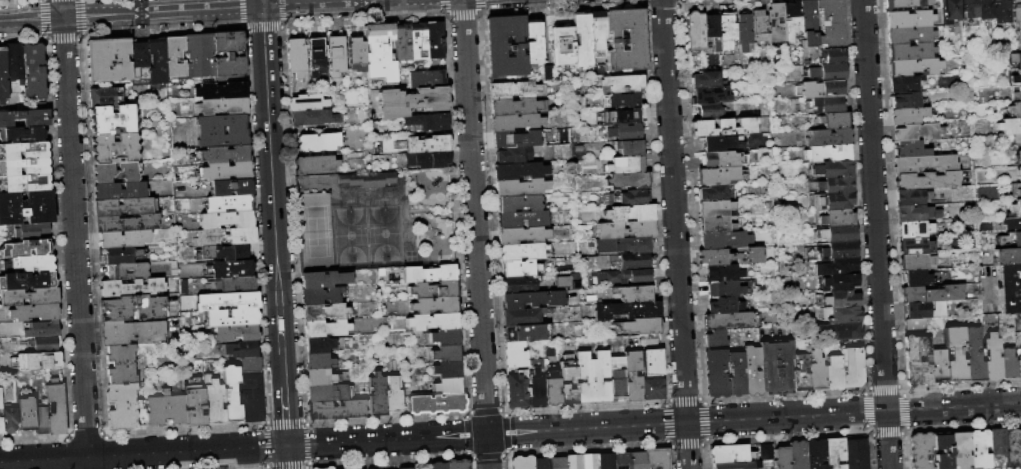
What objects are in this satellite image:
road: (261, 3)
road: (312, 3)
building: (902, 5)
traffic signals: (262, 6)
building: (985, 9)
building: (970, 10)
building: (951, 11)
road: (130, 13)
building: (1001, 16)
building: (910, 17)
building: (791, 20)
building: (1017, 20)
building: (808, 22)
building: (829, 22)
building: (759, 24)
building: (776, 25)
building: (596, 29)
building: (694, 32)
building: (711, 32)
building: (727, 33)
building: (744, 33)
building: (909, 35)
building: (581, 39)
building: (624, 39)
building: (434, 40)
building: (418, 41)
building: (401, 42)
building: (532, 43)
building: (504, 46)
building: (562, 46)
building: (910, 51)
building: (379, 52)
building: (228, 53)
building: (357, 54)
building: (199, 55)
building: (335, 55)
building: (174, 56)
building: (316, 56)
building: (832, 56)
building: (295, 58)
building: (107, 60)
building: (138, 60)
building: (1015, 60)
building: (157, 61)
building: (13, 62)
building: (913, 67)
building: (34, 71)
building: (546, 72)
building: (828, 72)
building: (3, 77)
building: (1014, 78)
building: (425, 79)
building: (707, 80)
building: (904, 83)
building: (622, 84)
building: (223, 88)
building: (820, 89)
building: (515, 90)
building: (1015, 93)
building: (712, 95)
building: (105, 96)
building: (621, 100)
building: (411, 101)
building: (908, 101)
building: (306, 102)
building: (824, 104)
building: (222, 106)
building: (516, 106)
building: (710, 111)
building: (1010, 111)
building: (907, 115)
building: (362, 116)
building: (621, 116)
building: (25, 118)
building: (312, 118)
building: (113, 120)
building: (834, 120)
building: (427, 121)
building: (515, 122)
building: (1008, 126)
building: (723, 127)
building: (210, 131)
building: (916, 131)
building: (625, 132)
building: (21, 134)
building: (827, 137)
building: (1016, 138)
building: (516, 139)
building: (317, 142)
building: (724, 143)
building: (426, 144)
building: (375, 145)
building: (629, 147)
building: (911, 148)
building: (114, 149)
building: (23, 150)
building: (828, 153)
building: (224, 154)
building: (1017, 154)
building: (513, 155)
building: (342, 157)
building: (427, 159)
building: (721, 159)
building: (313, 164)
building: (924, 164)
building: (625, 165)
building: (24, 167)
building: (519, 170)
building: (830, 170)
building: (226, 171)
building: (116, 172)
building: (1018, 173)
building: (719, 175)
building: (367, 180)
building: (627, 180)
building: (926, 180)
building: (24, 183)
building: (832, 185)
building: (231, 187)
building: (520, 187)
building: (1017, 189)
building: (120, 190)
building: (717, 192)
building: (912, 197)
building: (627, 198)
building: (830, 201)
building: (229, 203)
building: (518, 203)
building: (124, 206)
building: (26, 208)
building: (716, 208)
building: (1014, 209)
building: (629, 213)
building: (915, 213)
building: (836, 218)
building: (522, 219)
building: (226, 220)
park: (373, 220)
building: (126, 223)
building: (1010, 224)
road: (274, 225)
building: (715, 225)
building: (625, 229)
building: (913, 229)
building: (31, 231)
park: (314, 233)
road: (74, 234)
road: (475, 234)
road: (675, 234)
building: (837, 234)
road: (875, 234)
park: (366, 235)
building: (523, 235)
building: (226, 236)
building: (117, 239)
building: (1010, 239)
building: (723, 240)
building: (623, 246)
building: (914, 246)
building: (26, 248)
building: (525, 251)
building: (832, 251)
building: (234, 252)
building: (119, 255)
building: (730, 256)
building: (1006, 256)
building: (622, 262)
building: (917, 262)
building: (30, 264)
building: (836, 267)
building: (231, 268)
building: (520, 268)
building: (127, 271)
building: (729, 272)
building: (429, 273)
building: (621, 277)
building: (917, 278)
building: (324, 279)
building: (27, 281)
building: (568, 281)
building: (840, 283)
building: (235, 284)
building: (519, 284)
building: (131, 288)
building: (1009, 288)
building: (433, 289)
building: (723, 289)
building: (632, 293)
building: (931, 294)
building: (320, 295)
building: (29, 297)
building: (532, 299)
building: (842, 299)
building: (227, 300)
building: (434, 305)
building: (723, 305)
building: (132, 308)
building: (626, 310)
building: (923, 310)
building: (327, 311)
building: (34, 312)
building: (841, 315)
building: (523, 316)
building: (232, 317)
building: (729, 320)
building: (433, 321)
building: (913, 323)
building: (642, 326)
building: (324, 328)
building: (41, 329)
building: (132, 332)
building: (524, 332)
building: (837, 332)
building: (235, 333)
building: (445, 336)
building: (714, 339)
building: (648, 341)
building: (43, 344)
building: (321, 344)
building: (240, 349)
building: (446, 353)
building: (514, 354)
building: (954, 354)
building: (973, 355)
building: (991, 357)
building: (916, 360)
building: (41, 361)
building: (318, 361)
building: (650, 362)
building: (1007, 363)
building: (121, 364)
building: (249, 364)
building: (937, 365)
building: (1018, 366)
building: (852, 367)
building: (775, 368)
building: (447, 369)
building: (751, 371)
building: (815, 371)
building: (800, 372)
building: (715, 373)
building: (832, 373)
building: (736, 374)
building: (591, 376)
building: (632, 376)
building: (321, 377)
building: (616, 378)
building: (567, 380)
building: (536, 385)
building: (447, 386)
building: (652, 387)
building: (551, 389)
building: (516, 390)
building: (326, 393)
building: (393, 393)
building: (231, 394)
building: (377, 394)
building: (252, 397)
building: (213, 401)
building: (0, 402)
building: (194, 402)
building: (436, 403)
building: (55, 408)
building: (125, 408)
building: (166, 409)
building: (335, 409)
building: (25, 411)
building: (40, 417)
building: (9, 420)
building: (1, 426)
road: (510, 432)
traffic signals: (287, 445)
building: (998, 445)
building: (1013, 448)
building: (921, 450)
building: (961, 450)
building: (980, 450)
building: (943, 451)
building: (767, 452)
building: (835, 452)
building: (816, 453)
building: (732, 454)
building: (856, 454)
building: (798, 455)
road: (287, 457)
building: (783, 457)
building: (657, 458)
building: (637, 460)
building: (574, 461)
building: (590, 461)
building: (607, 461)
building: (622, 461)
building: (522, 462)
building: (541, 463)
building: (558, 463)
building: (458, 464)
building: (439, 465)
building: (740, 465)
building: (313, 468)
building: (328, 468)
building: (377, 468)
building: (406, 468)

